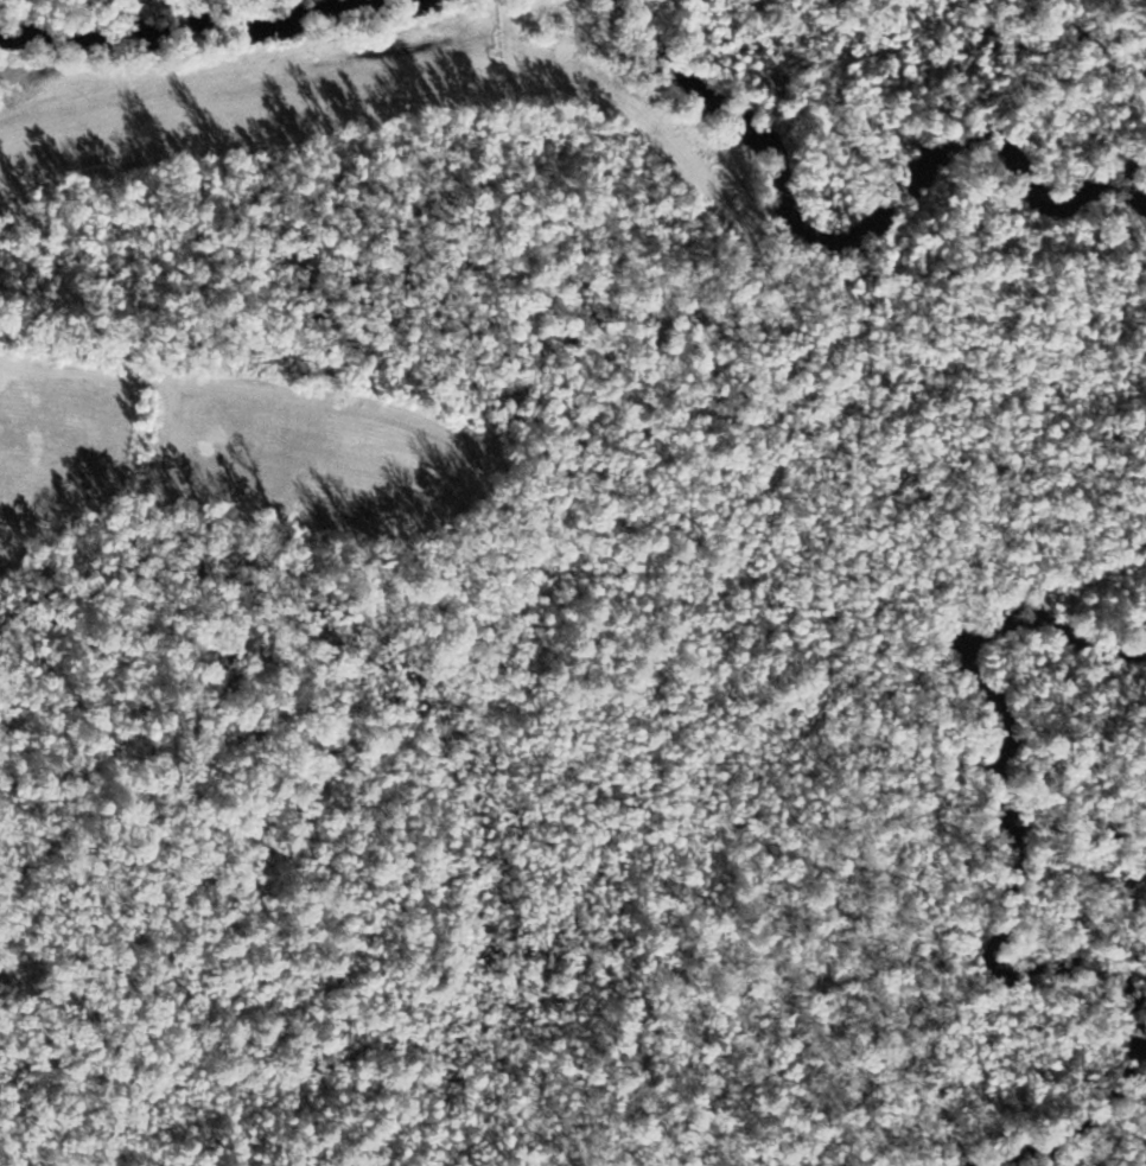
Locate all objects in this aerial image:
river: (176, 25)
river: (991, 426)

